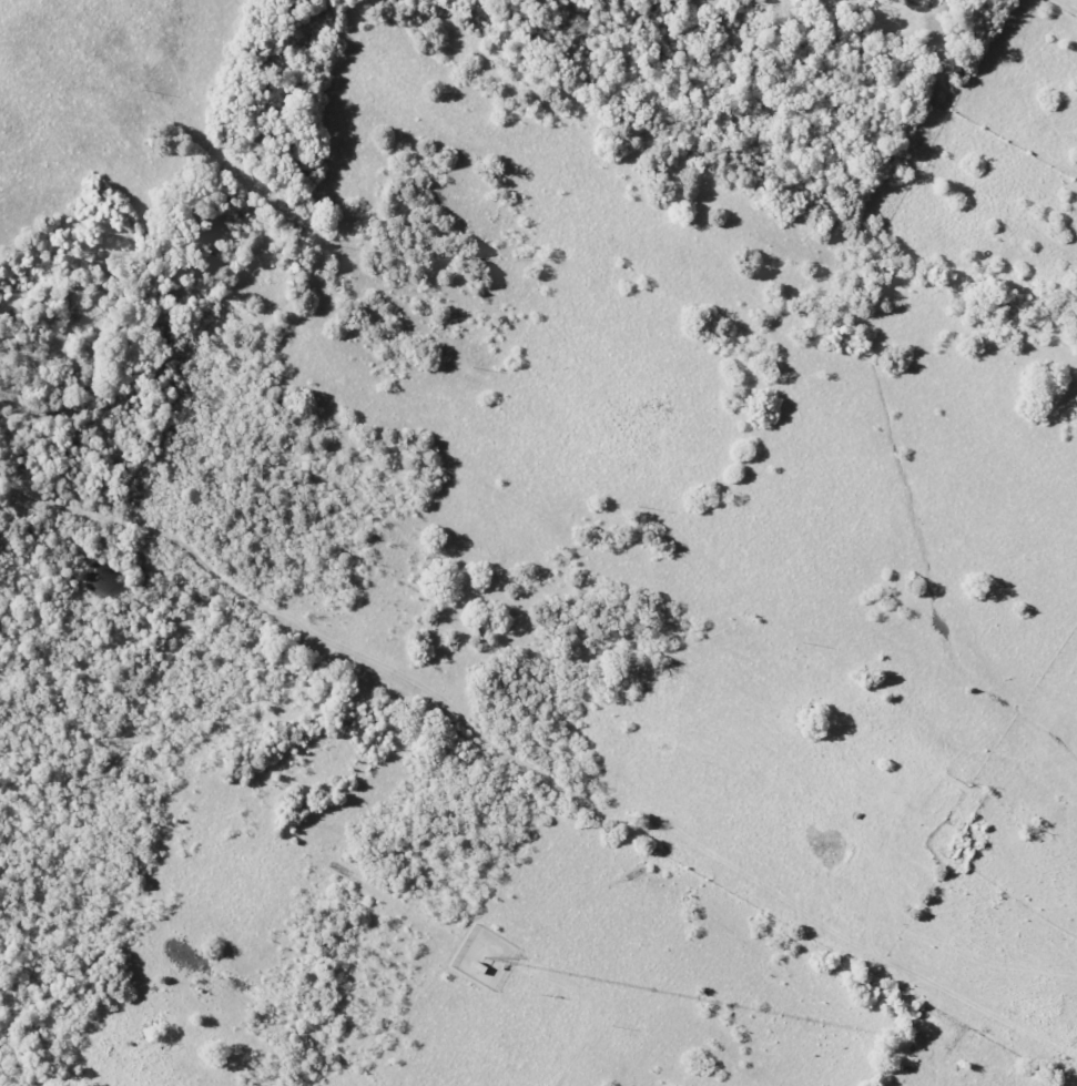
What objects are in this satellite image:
road: (1066, 6)

